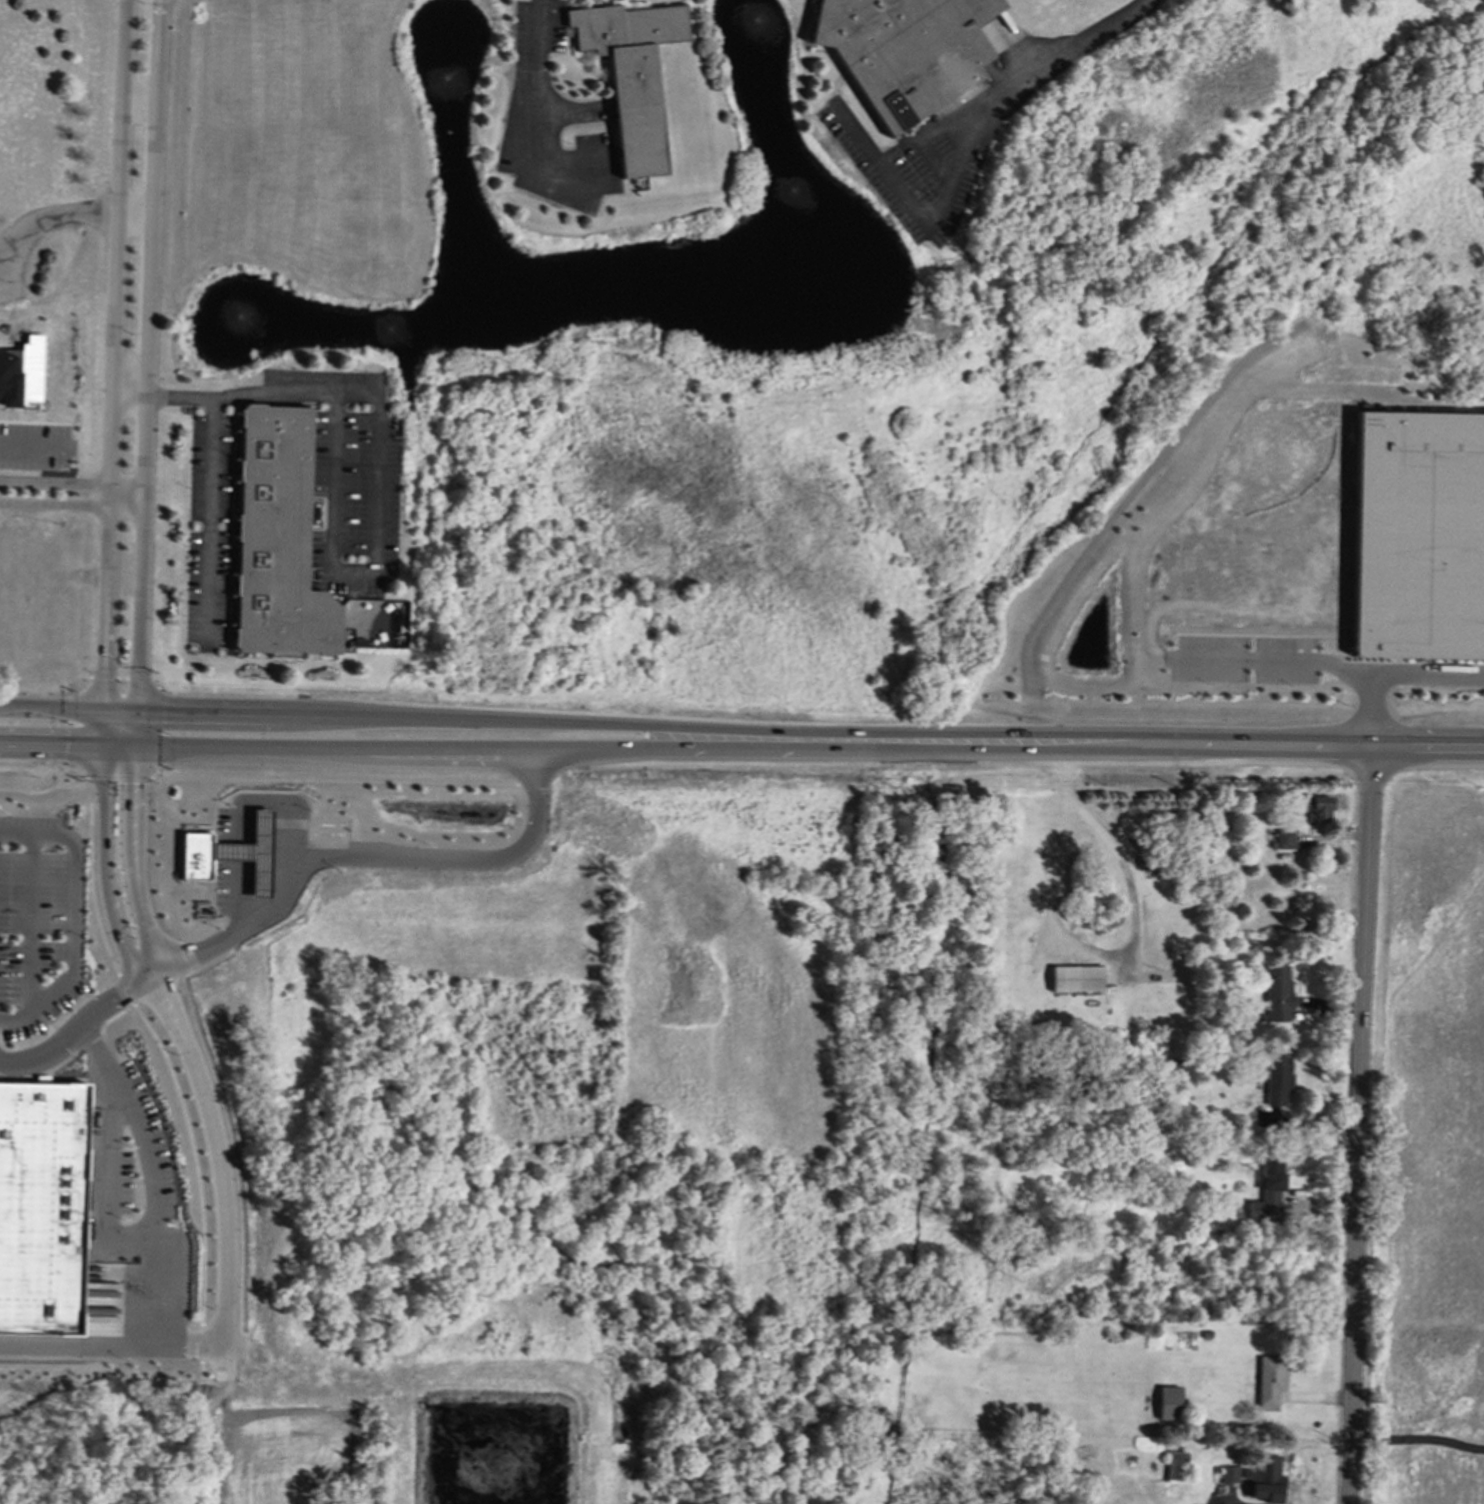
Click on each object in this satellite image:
building: (905, 52)
building: (631, 75)
road: (532, 88)
road: (140, 106)
road: (966, 149)
road: (72, 215)
building: (22, 373)
road: (33, 440)
road: (379, 457)
road: (74, 482)
road: (73, 504)
road: (211, 523)
road: (147, 524)
road: (109, 531)
building: (1418, 537)
building: (277, 540)
road: (1282, 661)
traffic signals: (105, 673)
road: (88, 678)
road: (104, 679)
road: (122, 679)
road: (1392, 679)
road: (140, 680)
road: (158, 681)
road: (149, 717)
traffic signals: (164, 717)
road: (564, 725)
road: (157, 730)
traffic signals: (66, 745)
road: (170, 747)
road: (682, 749)
road: (1155, 749)
road: (438, 750)
road: (156, 775)
road: (120, 777)
road: (345, 781)
traffic signals: (140, 785)
road: (40, 793)
road: (274, 807)
building: (1318, 809)
road: (181, 824)
building: (1285, 840)
building: (251, 854)
building: (195, 857)
road: (90, 876)
road: (290, 887)
road: (240, 895)
road: (72, 916)
road: (30, 926)
road: (1081, 945)
building: (1077, 980)
road: (124, 990)
building: (1278, 994)
road: (42, 1022)
road: (61, 1042)
road: (86, 1043)
road: (40, 1072)
building: (1278, 1081)
road: (1360, 1128)
road: (187, 1135)
road: (150, 1176)
road: (106, 1178)
building: (1271, 1181)
road: (224, 1204)
building: (40, 1208)
road: (116, 1293)
road: (113, 1343)
road: (202, 1343)
road: (202, 1371)
building: (1269, 1382)
building: (1170, 1405)
road: (1418, 1442)
crop: (302, 1460)
building: (1176, 1465)
building: (1265, 1472)
building: (1230, 1476)

